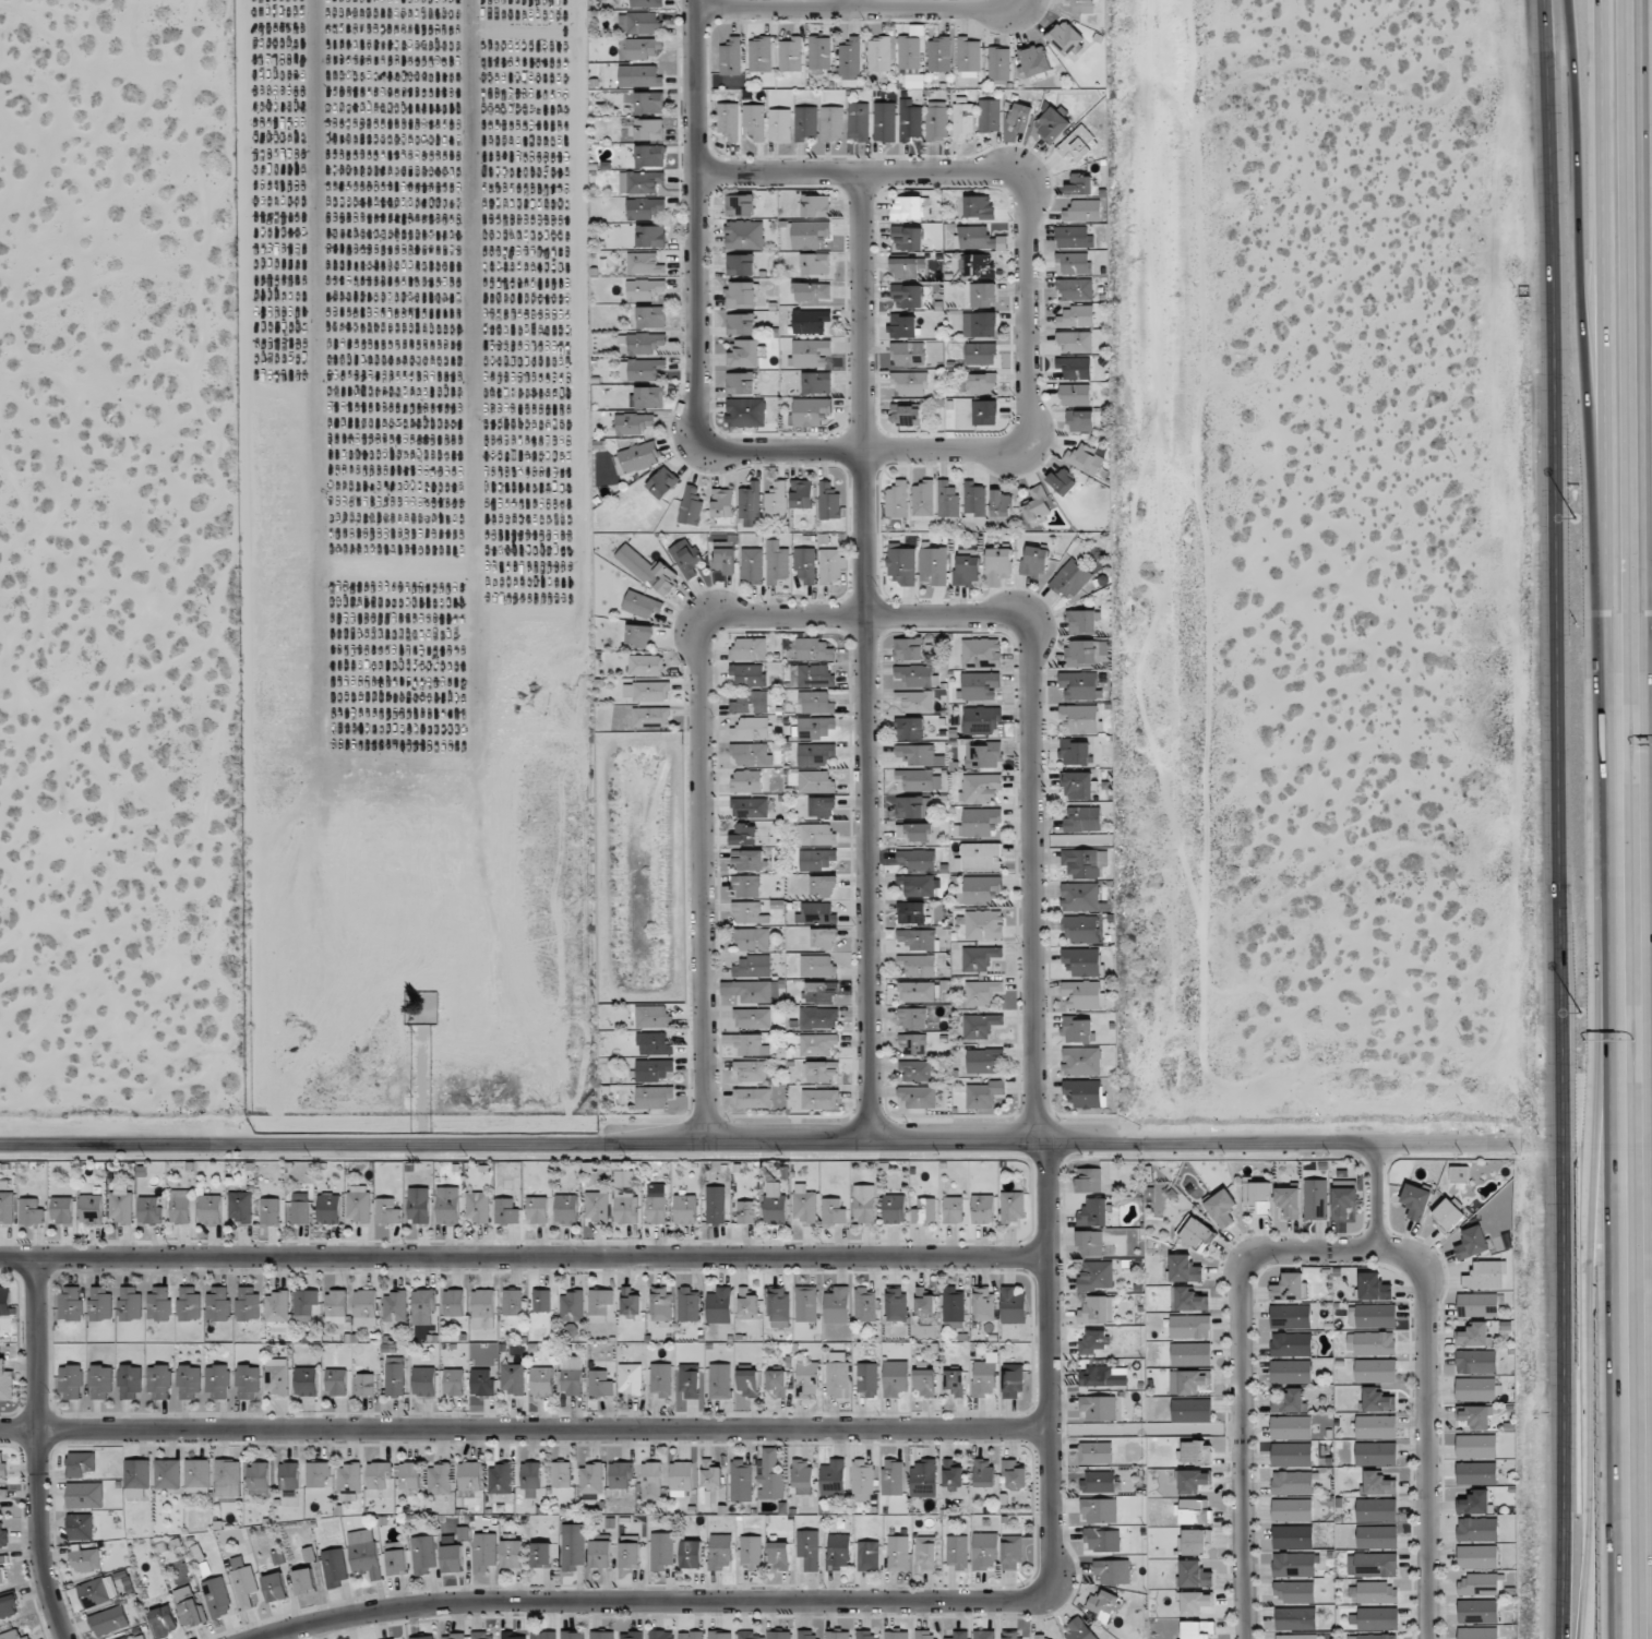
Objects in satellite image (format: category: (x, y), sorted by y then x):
road: (846, 1)
road: (1017, 1)
road: (851, 2)
building: (646, 3)
building: (1081, 7)
building: (639, 23)
building: (1067, 39)
building: (644, 48)
building: (759, 55)
building: (790, 55)
building: (879, 55)
building: (909, 55)
building: (939, 55)
building: (969, 55)
building: (730, 57)
building: (850, 59)
building: (998, 63)
building: (639, 76)
building: (649, 103)
building: (989, 116)
building: (1021, 116)
building: (962, 117)
building: (859, 120)
building: (909, 120)
building: (728, 121)
building: (754, 121)
building: (936, 121)
building: (805, 123)
building: (831, 123)
building: (1052, 124)
building: (779, 125)
building: (884, 125)
building: (648, 129)
building: (1078, 145)
building: (650, 155)
road: (854, 168)
building: (639, 181)
building: (1078, 184)
building: (739, 205)
building: (815, 205)
building: (979, 206)
building: (909, 207)
building: (645, 208)
building: (1082, 211)
road: (689, 224)
building: (810, 234)
building: (743, 235)
building: (650, 236)
building: (1074, 237)
building: (908, 238)
building: (975, 238)
road: (1650, 255)
building: (644, 263)
building: (1073, 263)
building: (740, 264)
building: (815, 264)
building: (975, 264)
building: (907, 267)
building: (646, 289)
building: (1075, 289)
building: (812, 291)
building: (983, 294)
building: (741, 295)
building: (908, 296)
road: (1025, 306)
road: (858, 308)
road: (1578, 313)
building: (651, 316)
building: (1076, 316)
building: (811, 321)
building: (740, 324)
building: (980, 324)
building: (902, 326)
building: (1075, 342)
building: (644, 343)
building: (743, 352)
building: (811, 352)
building: (908, 354)
building: (981, 354)
building: (1075, 368)
building: (643, 370)
building: (816, 382)
building: (740, 383)
building: (910, 383)
building: (982, 383)
building: (1075, 394)
building: (647, 396)
building: (810, 411)
building: (745, 412)
building: (984, 412)
building: (906, 415)
building: (1080, 420)
building: (633, 423)
road: (944, 445)
road: (776, 447)
building: (638, 456)
building: (1085, 459)
building: (1062, 481)
building: (662, 482)
building: (802, 493)
building: (923, 498)
building: (947, 498)
building: (974, 499)
building: (897, 500)
building: (829, 501)
building: (722, 502)
building: (776, 502)
building: (750, 504)
building: (1001, 504)
building: (1038, 504)
building: (691, 506)
building: (686, 559)
building: (725, 560)
building: (1034, 561)
building: (777, 562)
building: (804, 564)
building: (752, 565)
building: (830, 565)
building: (901, 565)
building: (997, 565)
building: (648, 570)
building: (966, 571)
building: (1069, 579)
building: (641, 605)
building: (1082, 622)
building: (639, 636)
building: (908, 648)
building: (749, 649)
building: (813, 649)
building: (981, 653)
building: (1082, 654)
building: (646, 665)
building: (749, 674)
building: (815, 675)
building: (917, 675)
building: (979, 685)
building: (1078, 685)
building: (646, 691)
building: (914, 701)
building: (752, 703)
building: (815, 703)
road: (697, 714)
building: (650, 717)
building: (1081, 718)
building: (981, 720)
building: (814, 727)
building: (751, 728)
building: (909, 728)
building: (1076, 752)
building: (750, 753)
building: (814, 754)
building: (913, 754)
building: (982, 755)
building: (913, 779)
building: (815, 781)
building: (1077, 785)
building: (979, 788)
road: (861, 795)
building: (822, 806)
building: (913, 806)
building: (750, 807)
building: (1082, 818)
road: (1556, 818)
road: (1607, 818)
building: (979, 822)
building: (914, 832)
building: (817, 834)
building: (744, 835)
building: (979, 857)
building: (747, 859)
building: (818, 859)
building: (917, 860)
building: (1084, 862)
road: (1029, 878)
building: (823, 885)
building: (917, 885)
building: (746, 886)
building: (978, 889)
building: (1080, 897)
building: (749, 912)
building: (815, 912)
building: (911, 912)
building: (983, 924)
building: (1080, 929)
building: (824, 937)
building: (753, 938)
building: (919, 938)
building: (979, 958)
building: (1082, 961)
building: (918, 965)
building: (753, 966)
building: (817, 966)
building: (752, 991)
building: (821, 992)
building: (915, 992)
building: (981, 992)
building: (1084, 994)
building: (651, 1016)
building: (752, 1018)
building: (818, 1018)
building: (912, 1018)
building: (980, 1026)
building: (1078, 1030)
building: (817, 1043)
building: (654, 1044)
building: (746, 1044)
building: (913, 1044)
building: (983, 1061)
building: (1081, 1061)
building: (654, 1069)
building: (751, 1070)
building: (914, 1070)
building: (819, 1072)
building: (1085, 1092)
building: (983, 1094)
building: (919, 1096)
building: (653, 1097)
building: (752, 1098)
building: (819, 1099)
road: (431, 1144)
road: (1118, 1146)
road: (1448, 1146)
building: (1089, 1180)
building: (1257, 1196)
building: (625, 1198)
building: (1315, 1199)
road: (1374, 1199)
building: (1415, 1200)
building: (1289, 1201)
building: (1342, 1201)
building: (121, 1203)
building: (864, 1203)
building: (359, 1204)
building: (775, 1204)
building: (803, 1204)
building: (418, 1205)
building: (447, 1205)
building: (715, 1205)
building: (180, 1206)
building: (477, 1206)
building: (596, 1206)
building: (1013, 1206)
building: (7, 1207)
building: (240, 1207)
building: (300, 1208)
building: (328, 1208)
building: (1222, 1208)
building: (91, 1209)
building: (210, 1209)
building: (566, 1209)
building: (685, 1209)
building: (894, 1209)
building: (953, 1209)
building: (982, 1209)
building: (61, 1210)
building: (149, 1210)
building: (656, 1210)
building: (31, 1211)
building: (270, 1211)
building: (387, 1211)
building: (506, 1211)
building: (833, 1211)
building: (924, 1211)
building: (1093, 1211)
building: (746, 1212)
building: (1448, 1215)
building: (1195, 1232)
building: (1090, 1243)
building: (1471, 1243)
road: (523, 1259)
building: (1184, 1269)
building: (1096, 1276)
building: (1485, 1276)
building: (1374, 1287)
building: (1289, 1288)
building: (1187, 1300)
building: (5, 1301)
building: (541, 1301)
building: (630, 1301)
building: (453, 1302)
building: (512, 1302)
building: (70, 1303)
building: (99, 1303)
building: (129, 1303)
building: (159, 1303)
building: (188, 1303)
building: (247, 1303)
building: (749, 1303)
building: (806, 1303)
building: (924, 1303)
building: (217, 1304)
building: (304, 1304)
building: (660, 1304)
building: (687, 1304)
building: (778, 1304)
building: (896, 1304)
building: (983, 1304)
building: (1477, 1304)
building: (423, 1305)
building: (600, 1305)
building: (719, 1305)
building: (837, 1305)
building: (864, 1305)
building: (953, 1305)
building: (1013, 1305)
building: (277, 1306)
building: (336, 1306)
building: (395, 1306)
building: (572, 1306)
building: (364, 1308)
building: (483, 1308)
building: (1096, 1309)
building: (1290, 1316)
building: (1372, 1316)
building: (1189, 1326)
road: (1590, 1330)
building: (1473, 1336)
building: (1092, 1342)
building: (1370, 1343)
building: (1291, 1344)
building: (1190, 1353)
building: (1475, 1362)
building: (1375, 1369)
building: (1290, 1371)
building: (837, 1374)
building: (572, 1375)
building: (277, 1376)
building: (984, 1376)
building: (1103, 1376)
building: (394, 1377)
building: (512, 1378)
building: (806, 1378)
building: (895, 1378)
building: (630, 1379)
building: (660, 1379)
building: (866, 1379)
building: (130, 1380)
building: (719, 1380)
building: (5, 1381)
building: (71, 1381)
building: (100, 1381)
building: (159, 1381)
building: (217, 1381)
building: (247, 1381)
building: (306, 1381)
building: (423, 1381)
building: (454, 1381)
building: (541, 1381)
building: (690, 1381)
building: (776, 1381)
building: (955, 1381)
building: (1013, 1381)
road: (1048, 1381)
building: (1188, 1381)
building: (189, 1383)
building: (336, 1383)
building: (482, 1383)
building: (749, 1383)
building: (924, 1383)
building: (599, 1384)
road: (1242, 1384)
building: (364, 1385)
building: (1475, 1388)
building: (1376, 1400)
building: (1289, 1401)
building: (1099, 1408)
building: (1192, 1410)
building: (1474, 1416)
road: (1422, 1426)
building: (1291, 1427)
building: (1376, 1427)
road: (19, 1432)
road: (542, 1432)
building: (1475, 1446)
road: (36, 1451)
building: (1094, 1452)
building: (1196, 1452)
building: (1376, 1453)
building: (1291, 1455)
building: (80, 1463)
building: (2, 1467)
building: (983, 1472)
building: (1476, 1472)
building: (318, 1473)
building: (953, 1473)
building: (1014, 1473)
building: (167, 1474)
building: (561, 1474)
building: (710, 1474)
building: (289, 1475)
building: (379, 1475)
building: (469, 1476)
building: (770, 1476)
building: (802, 1476)
building: (833, 1476)
building: (862, 1476)
building: (136, 1478)
building: (197, 1478)
building: (681, 1478)
building: (893, 1478)
building: (228, 1479)
building: (258, 1479)
building: (409, 1479)
building: (439, 1479)
building: (499, 1479)
building: (530, 1479)
building: (590, 1479)
building: (923, 1479)
building: (650, 1480)
building: (741, 1481)
building: (1193, 1481)
building: (349, 1482)
building: (1098, 1482)
building: (1292, 1483)
building: (1377, 1484)
building: (3, 1494)
building: (84, 1495)
building: (1474, 1503)
building: (1100, 1510)
building: (1292, 1510)
building: (1376, 1510)
building: (1193, 1511)
building: (80, 1527)
building: (1477, 1529)
building: (3, 1536)
building: (1293, 1538)
building: (1377, 1538)
building: (1101, 1540)
building: (1194, 1541)
building: (573, 1546)
building: (809, 1548)
building: (984, 1550)
building: (484, 1551)
building: (661, 1551)
building: (720, 1552)
building: (838, 1552)
building: (957, 1552)
building: (1011, 1552)
building: (363, 1553)
building: (751, 1553)
building: (925, 1553)
building: (423, 1554)
building: (512, 1554)
building: (600, 1554)
building: (691, 1554)
building: (897, 1554)
building: (541, 1555)
building: (630, 1555)
building: (778, 1555)
building: (867, 1556)
building: (1477, 1556)
building: (452, 1558)
building: (85, 1560)
building: (397, 1562)
building: (1294, 1565)
building: (1372, 1565)
building: (334, 1567)
building: (3, 1570)
building: (1112, 1571)
building: (1195, 1575)
building: (304, 1581)
building: (244, 1584)
building: (1477, 1584)
building: (275, 1587)
building: (97, 1591)
building: (1293, 1591)
building: (1377, 1592)
building: (217, 1598)
building: (1195, 1602)
road: (633, 1603)
building: (1103, 1605)
building: (9, 1606)
building: (189, 1606)
building: (1477, 1611)
building: (1295, 1618)
building: (1377, 1618)
building: (109, 1620)
building: (164, 1620)
building: (1197, 1629)
building: (1078, 1630)
building: (1477, 1632)
building: (807, 1634)
building: (984, 1634)
building: (13, 1635)
building: (542, 1635)
building: (572, 1635)
building: (601, 1635)
building: (631, 1635)
building: (660, 1635)
building: (691, 1635)
building: (719, 1635)
building: (778, 1635)
building: (837, 1635)
building: (866, 1635)
building: (896, 1635)
building: (925, 1635)
building: (959, 1635)
building: (1011, 1635)
building: (454, 1636)
building: (482, 1636)
building: (513, 1636)
building: (751, 1636)
building: (1039, 1636)
building: (1378, 1636)
building: (129, 1637)
building: (423, 1637)
building: (1297, 1637)
building: (398, 1638)

